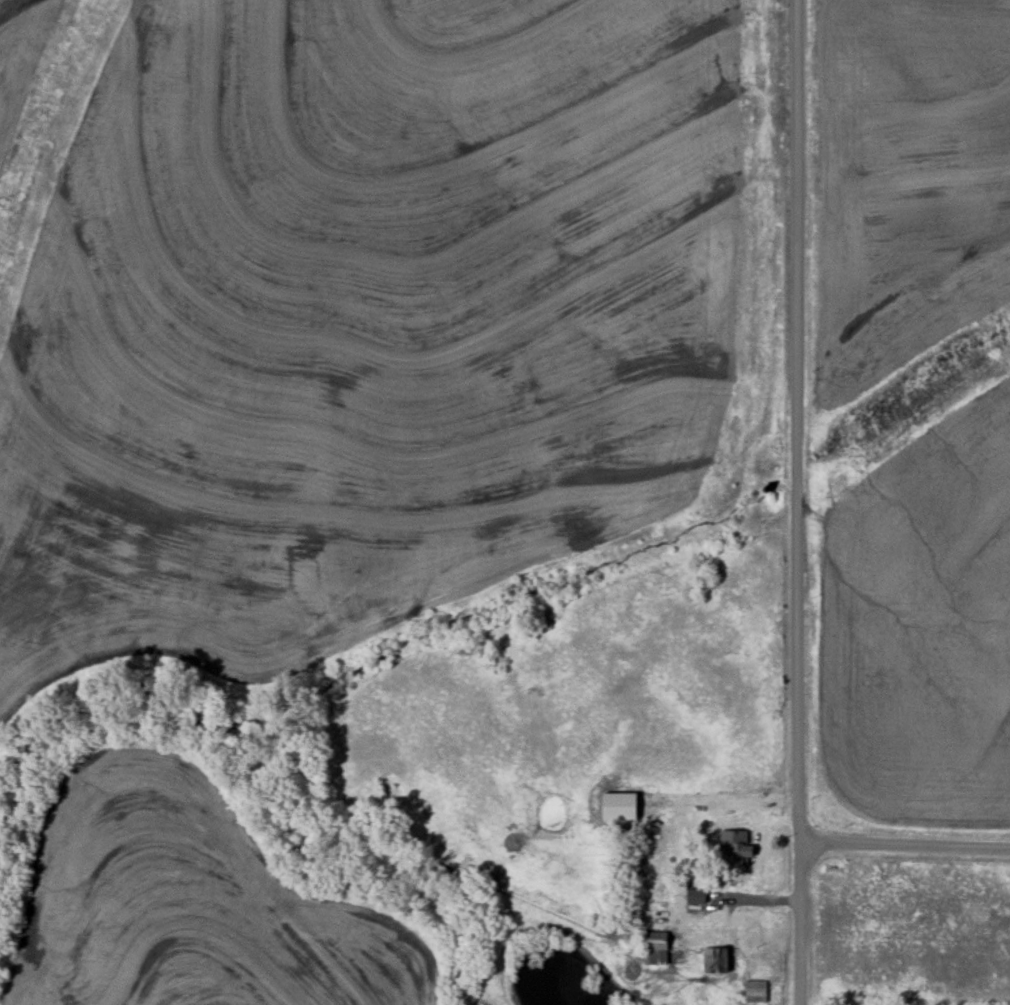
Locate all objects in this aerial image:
road: (797, 502)
road: (904, 845)
building: (737, 848)
building: (696, 896)
building: (656, 948)
building: (713, 961)
building: (756, 992)

